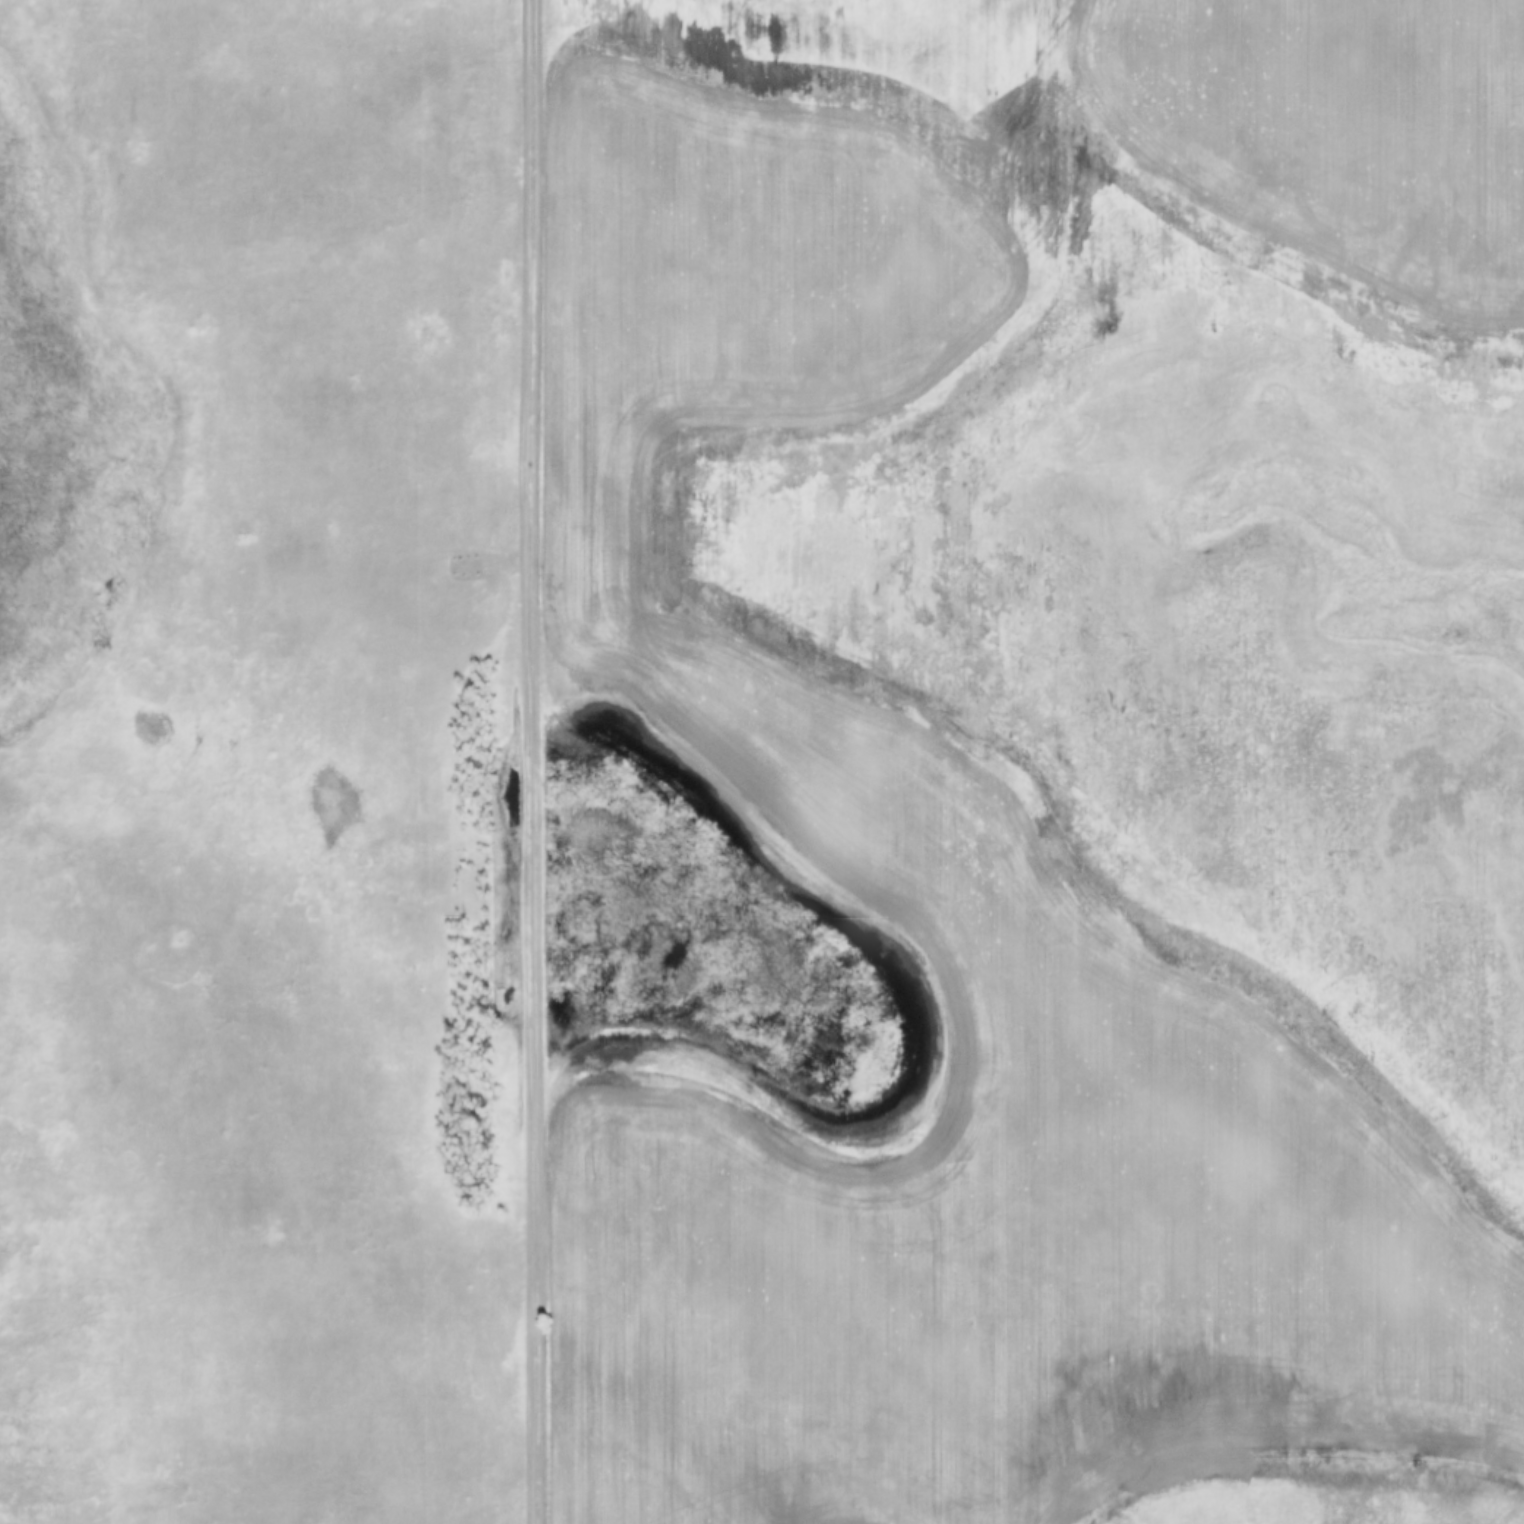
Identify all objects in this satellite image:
road: (531, 761)

